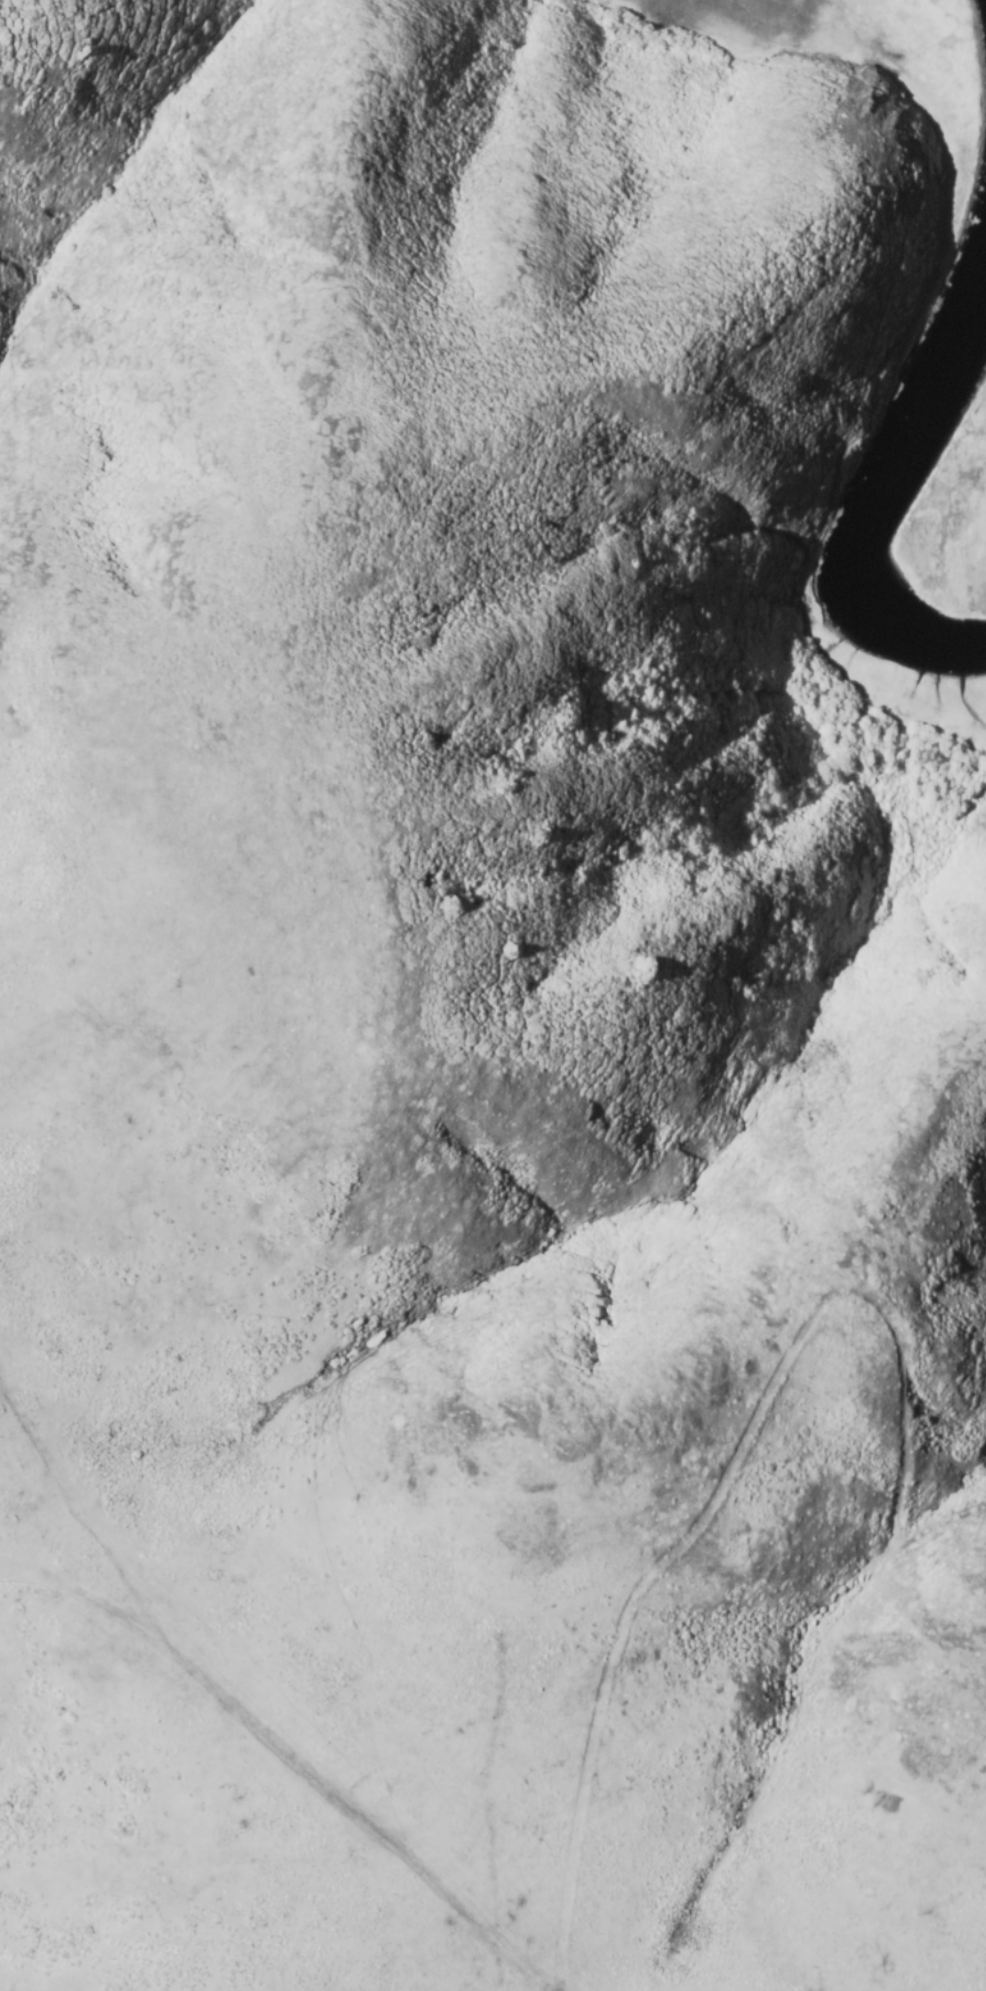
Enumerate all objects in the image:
road: (287, 1751)
road: (502, 1973)

